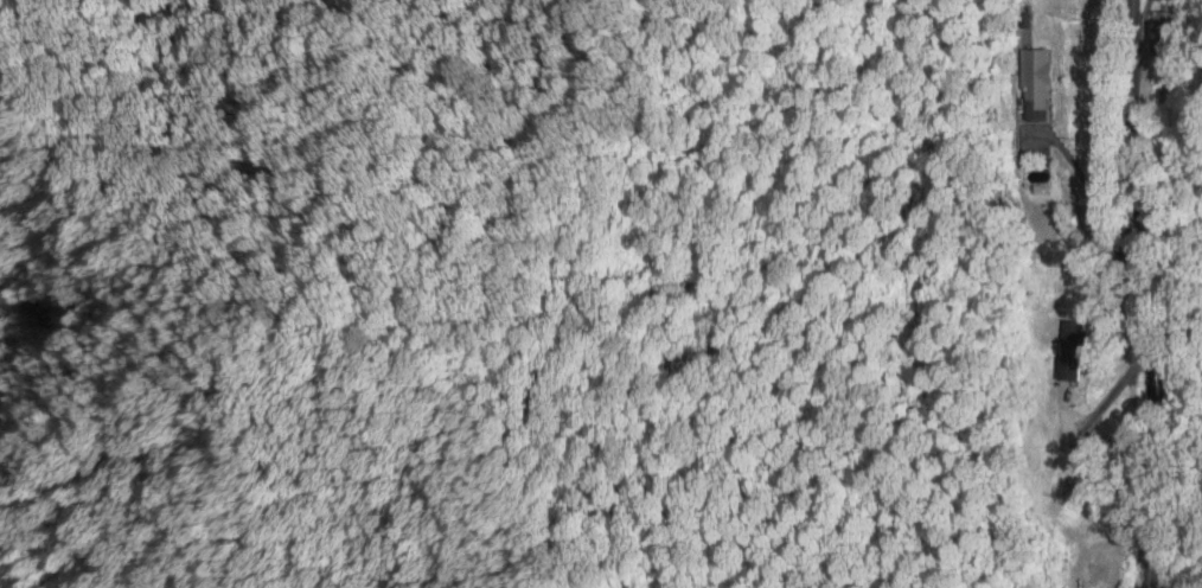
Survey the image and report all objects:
building: (1162, 38)
building: (1035, 84)
road: (1138, 294)
building: (1070, 351)
building: (1082, 586)

